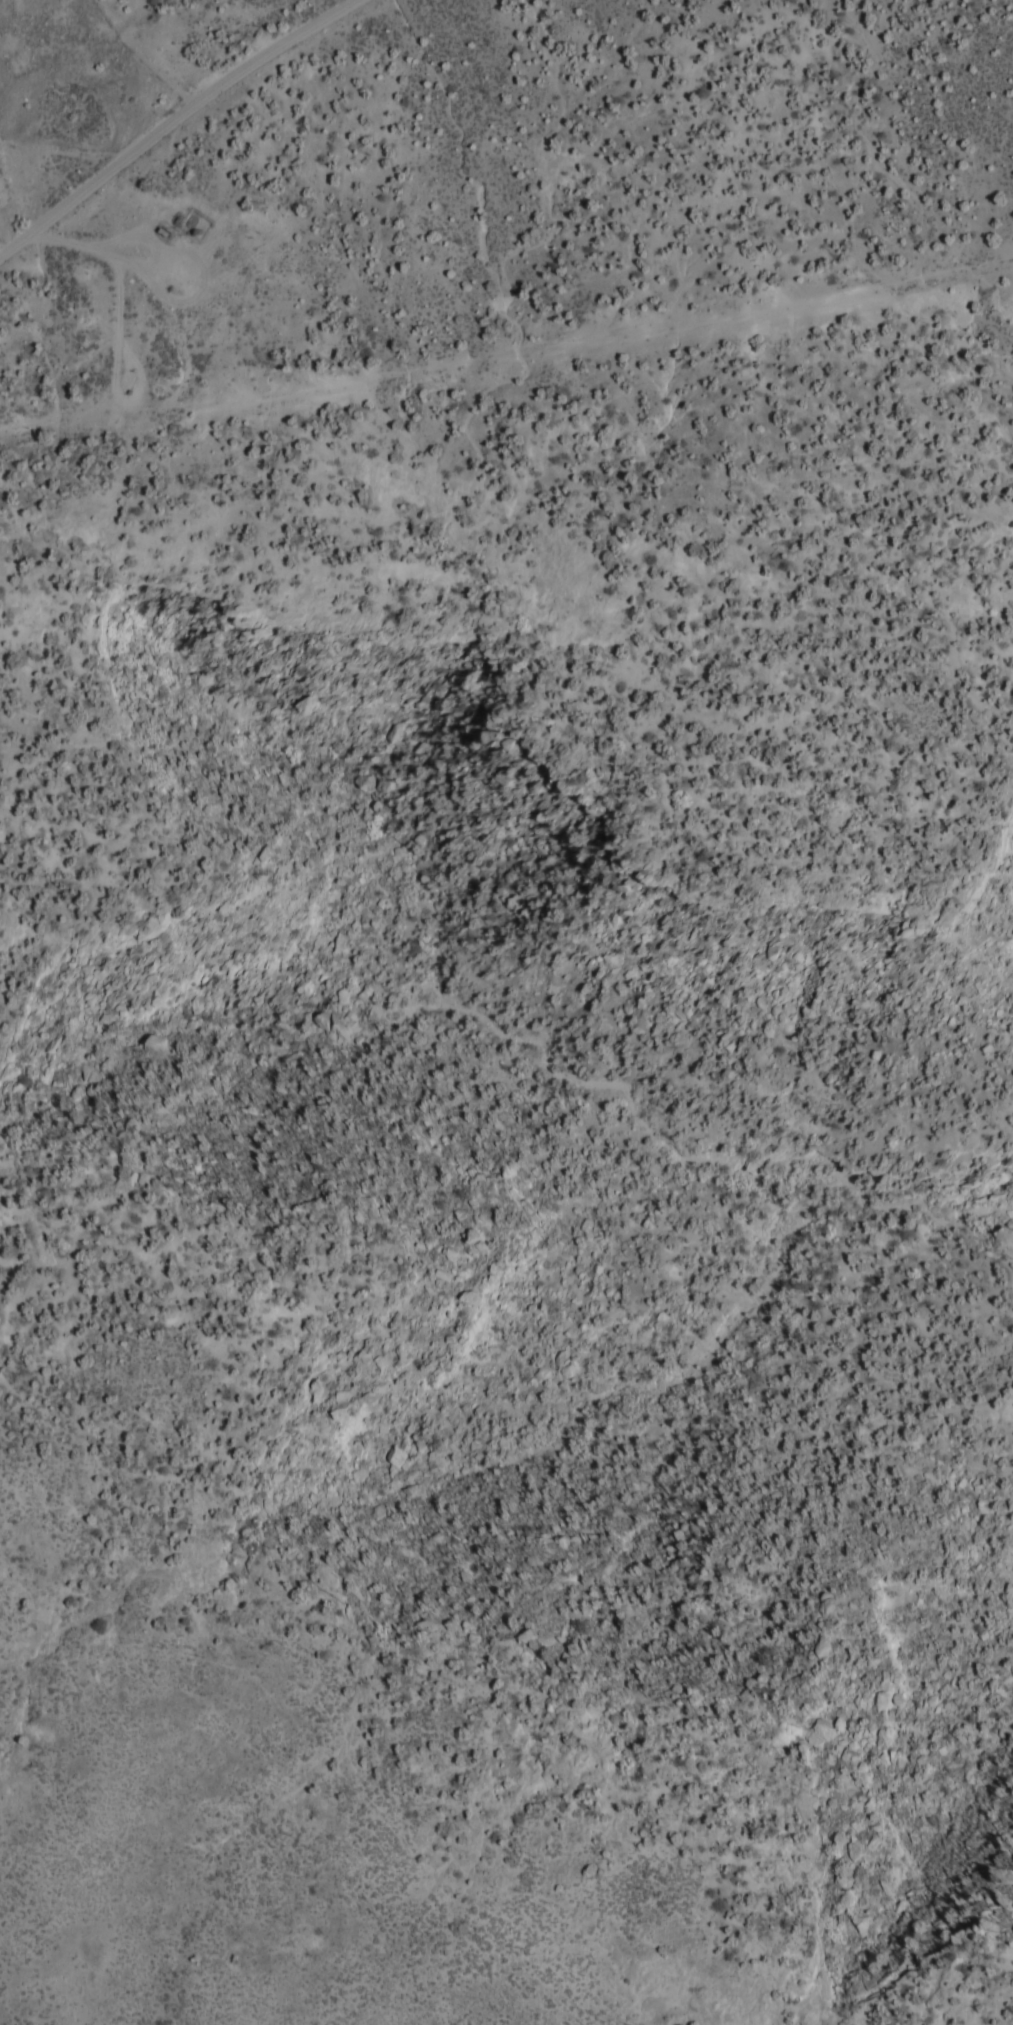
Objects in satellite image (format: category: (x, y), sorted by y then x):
road: (121, 111)

